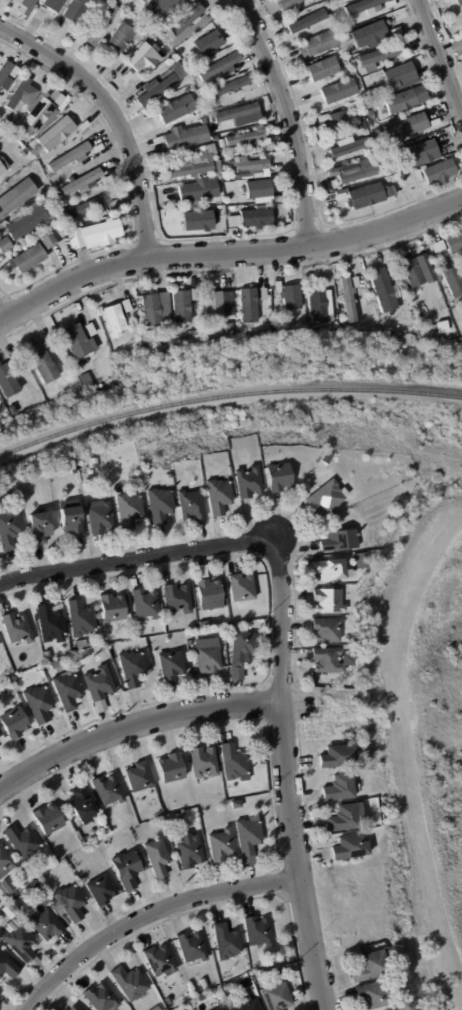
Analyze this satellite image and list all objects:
building: (315, 0)
building: (338, 0)
building: (142, 1)
building: (311, 1)
building: (442, 1)
building: (17, 2)
building: (325, 3)
building: (390, 3)
building: (456, 3)
building: (26, 4)
building: (52, 4)
building: (287, 4)
building: (361, 6)
building: (163, 8)
building: (39, 11)
building: (72, 15)
building: (191, 17)
building: (146, 20)
building: (305, 22)
building: (98, 25)
building: (395, 31)
building: (461, 34)
building: (367, 35)
building: (120, 37)
building: (461, 39)
building: (174, 42)
building: (210, 42)
building: (317, 43)
building: (454, 46)
building: (184, 52)
road: (442, 53)
building: (142, 57)
building: (377, 57)
building: (111, 59)
building: (219, 66)
building: (323, 69)
building: (303, 74)
building: (396, 75)
building: (3, 76)
building: (127, 77)
building: (160, 82)
building: (232, 89)
building: (338, 91)
building: (16, 94)
building: (59, 100)
building: (405, 100)
building: (176, 110)
building: (37, 113)
building: (151, 113)
building: (235, 113)
road: (115, 114)
building: (201, 115)
building: (258, 117)
building: (324, 118)
road: (290, 119)
building: (349, 121)
building: (84, 125)
building: (405, 129)
building: (365, 131)
building: (55, 133)
building: (187, 137)
building: (248, 139)
building: (159, 140)
building: (222, 144)
building: (328, 145)
building: (351, 147)
building: (418, 154)
building: (68, 157)
building: (3, 166)
building: (251, 168)
building: (189, 169)
building: (358, 172)
building: (436, 172)
building: (107, 180)
building: (80, 181)
building: (389, 188)
building: (257, 189)
building: (198, 191)
building: (341, 196)
building: (365, 196)
building: (16, 197)
building: (50, 197)
building: (88, 206)
building: (233, 208)
building: (251, 218)
building: (198, 220)
building: (28, 222)
building: (99, 233)
building: (50, 241)
building: (454, 244)
building: (5, 245)
building: (439, 247)
road: (227, 252)
building: (29, 259)
building: (436, 266)
building: (391, 270)
building: (412, 273)
building: (439, 279)
building: (454, 280)
building: (357, 282)
building: (365, 282)
building: (382, 292)
building: (195, 294)
building: (264, 294)
building: (289, 296)
building: (349, 300)
building: (319, 304)
building: (215, 305)
building: (127, 306)
building: (181, 306)
building: (249, 306)
building: (156, 310)
road: (2, 316)
building: (115, 320)
building: (442, 327)
building: (461, 328)
building: (91, 330)
building: (195, 334)
building: (148, 335)
building: (170, 339)
building: (76, 342)
building: (53, 344)
building: (17, 363)
building: (42, 364)
building: (7, 382)
building: (89, 387)
railway: (226, 394)
building: (2, 415)
building: (328, 456)
building: (91, 463)
building: (72, 471)
building: (170, 476)
building: (280, 477)
building: (249, 483)
building: (219, 497)
building: (327, 498)
building: (192, 505)
building: (130, 511)
building: (161, 512)
building: (101, 517)
building: (72, 522)
building: (10, 528)
building: (41, 528)
building: (339, 541)
road: (135, 558)
building: (360, 561)
building: (331, 570)
building: (243, 588)
building: (210, 596)
building: (181, 599)
building: (329, 602)
building: (146, 605)
building: (113, 609)
building: (82, 619)
road: (281, 619)
building: (204, 624)
building: (52, 625)
building: (232, 628)
building: (18, 629)
building: (268, 630)
building: (328, 631)
building: (191, 643)
building: (243, 655)
building: (47, 656)
building: (87, 659)
building: (209, 660)
building: (332, 661)
building: (56, 665)
building: (171, 665)
building: (134, 669)
building: (1, 672)
building: (16, 679)
building: (359, 687)
building: (101, 688)
building: (67, 691)
road: (298, 701)
building: (40, 704)
building: (15, 724)
road: (134, 725)
building: (339, 757)
building: (204, 762)
building: (234, 762)
building: (171, 768)
building: (140, 777)
building: (340, 789)
building: (108, 790)
building: (236, 804)
building: (82, 805)
building: (178, 817)
building: (346, 818)
building: (48, 819)
building: (248, 839)
building: (24, 841)
building: (221, 845)
building: (351, 847)
building: (190, 851)
road: (291, 857)
building: (158, 858)
building: (6, 859)
building: (128, 869)
building: (8, 886)
building: (38, 889)
building: (102, 889)
building: (72, 902)
building: (15, 903)
building: (54, 908)
road: (147, 918)
building: (46, 925)
building: (258, 932)
building: (226, 942)
building: (22, 945)
building: (192, 947)
building: (160, 960)
building: (8, 966)
building: (367, 966)
building: (263, 973)
building: (241, 982)
building: (130, 983)
building: (204, 984)
building: (0, 993)
building: (211, 994)
building: (371, 994)
building: (278, 996)
building: (101, 997)
building: (246, 1005)
building: (75, 1008)
building: (155, 1008)
building: (223, 1008)
building: (63, 1009)
building: (213, 1009)
building: (389, 1009)
building: (391, 1009)

